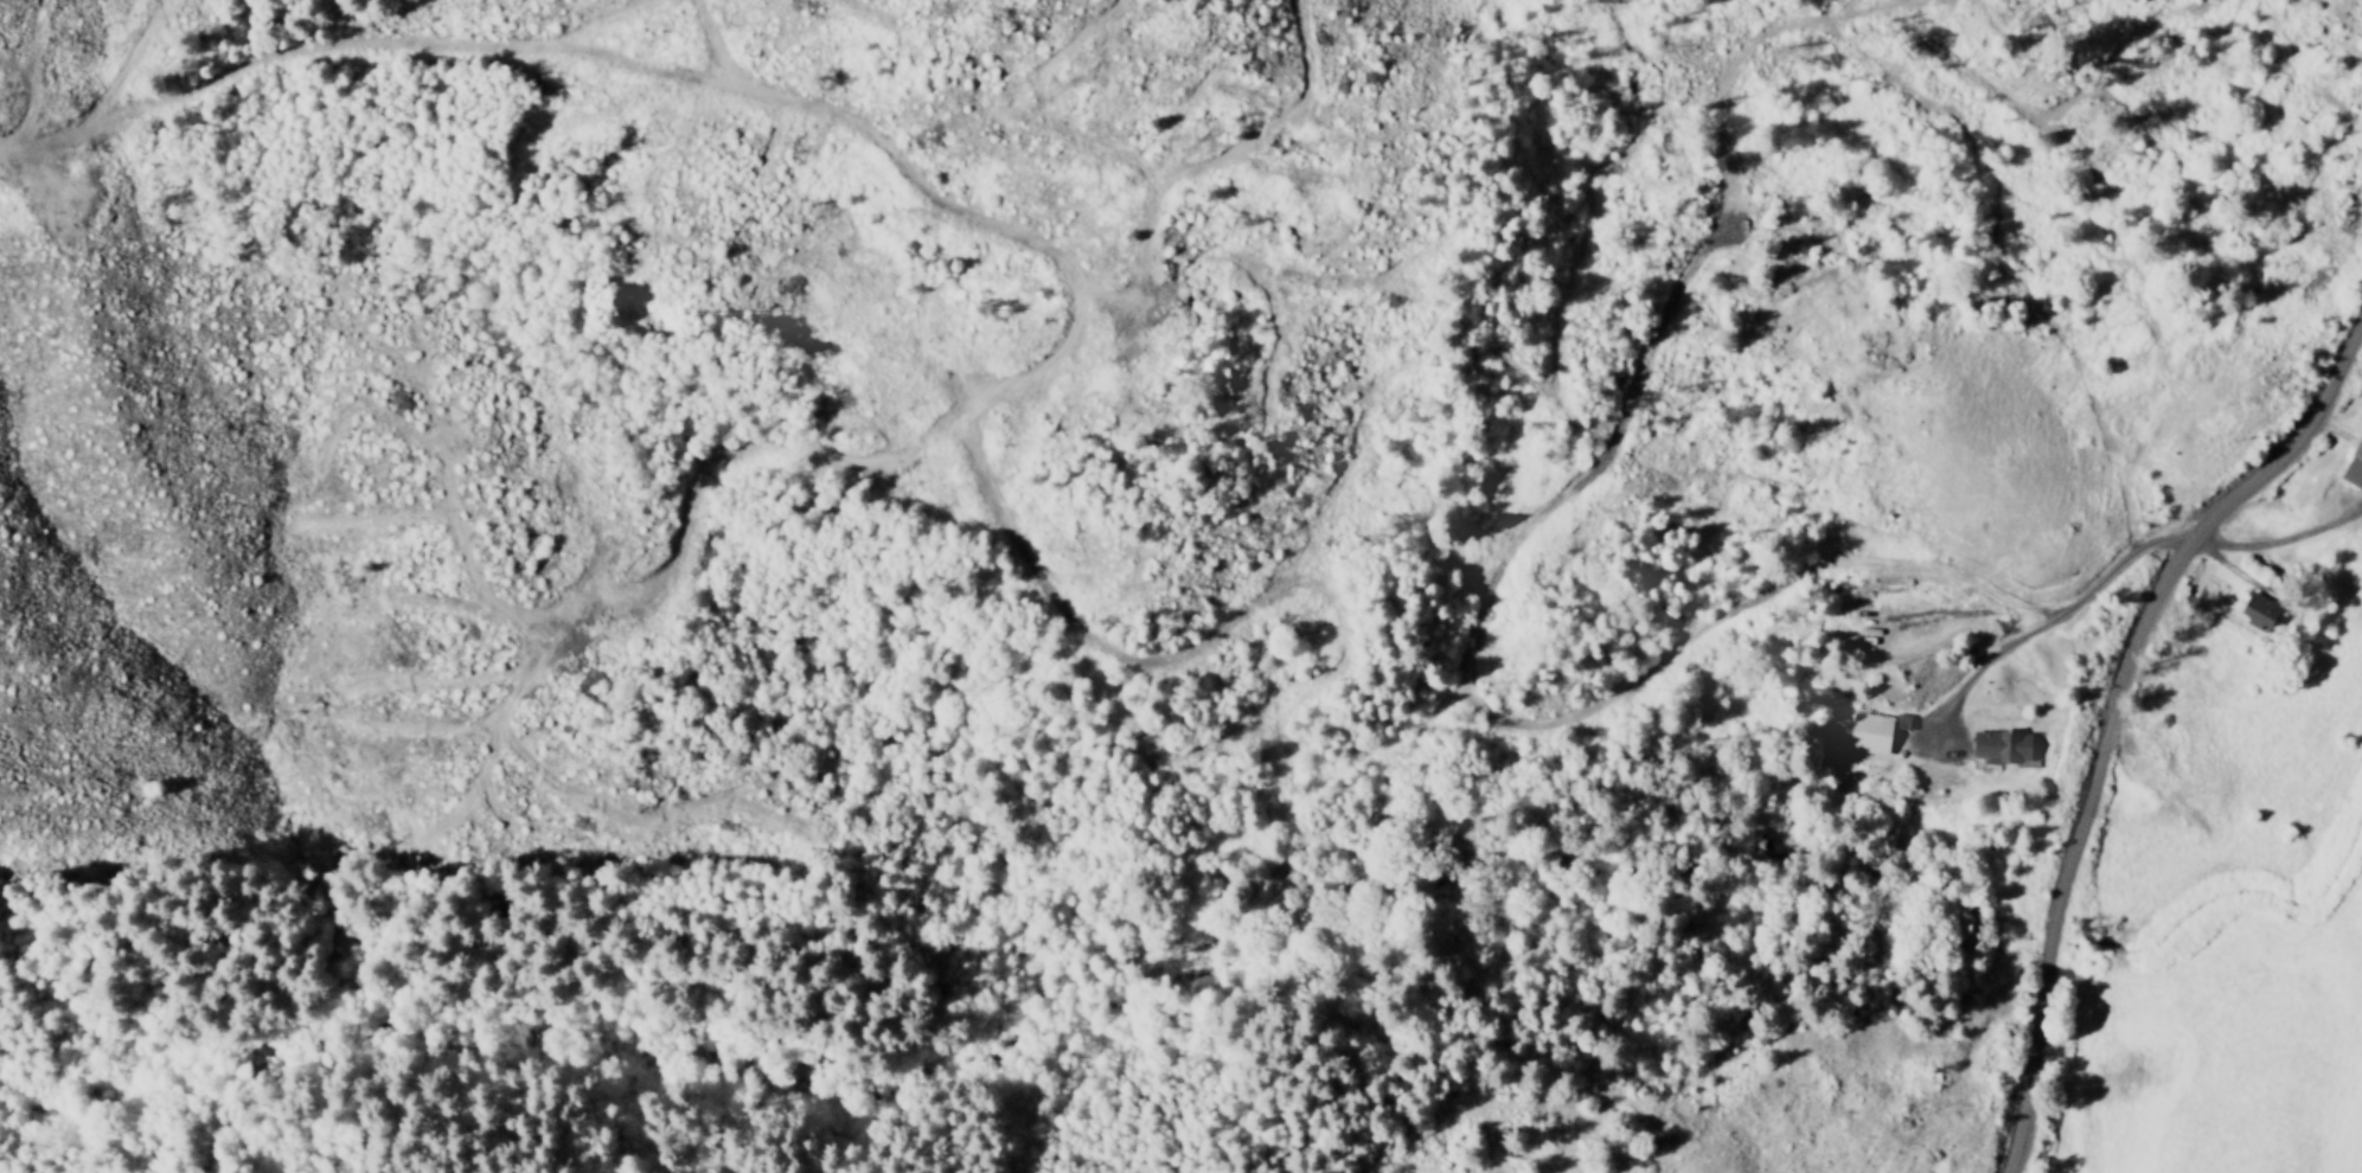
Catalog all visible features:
building: (2351, 466)
building: (2252, 613)
road: (2047, 622)
road: (2112, 711)
building: (1876, 733)
building: (1998, 746)

